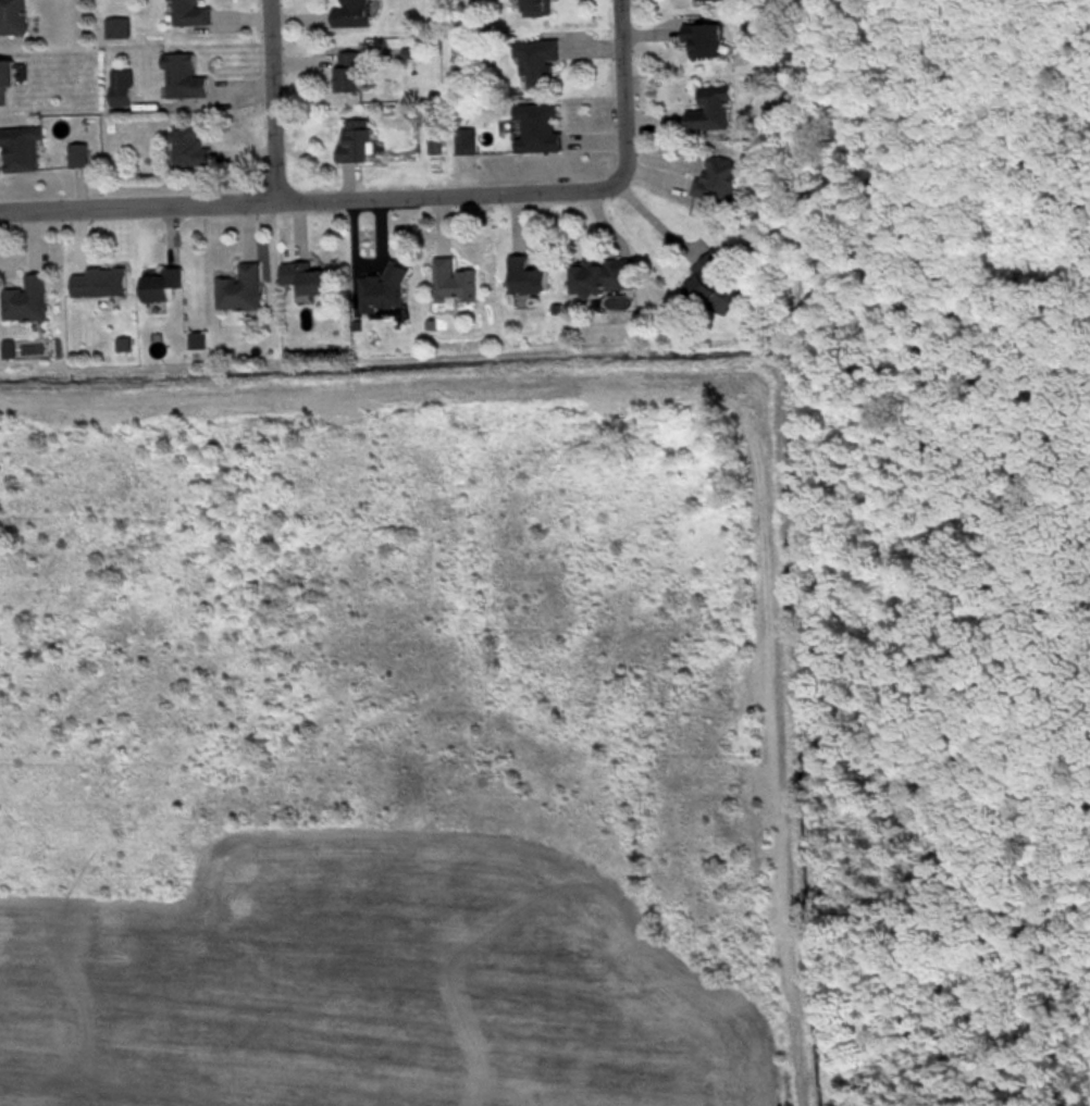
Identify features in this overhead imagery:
building: (536, 7)
building: (188, 12)
building: (350, 13)
building: (13, 16)
building: (116, 26)
building: (702, 37)
building: (537, 60)
building: (347, 70)
building: (183, 75)
building: (5, 77)
building: (120, 86)
road: (620, 90)
road: (271, 100)
building: (710, 107)
building: (537, 126)
building: (356, 139)
building: (189, 145)
building: (20, 146)
building: (77, 153)
building: (717, 176)
road: (307, 199)
building: (603, 274)
building: (525, 275)
building: (311, 278)
building: (453, 279)
building: (98, 282)
building: (714, 283)
building: (160, 285)
building: (240, 287)
building: (383, 289)
building: (26, 299)

